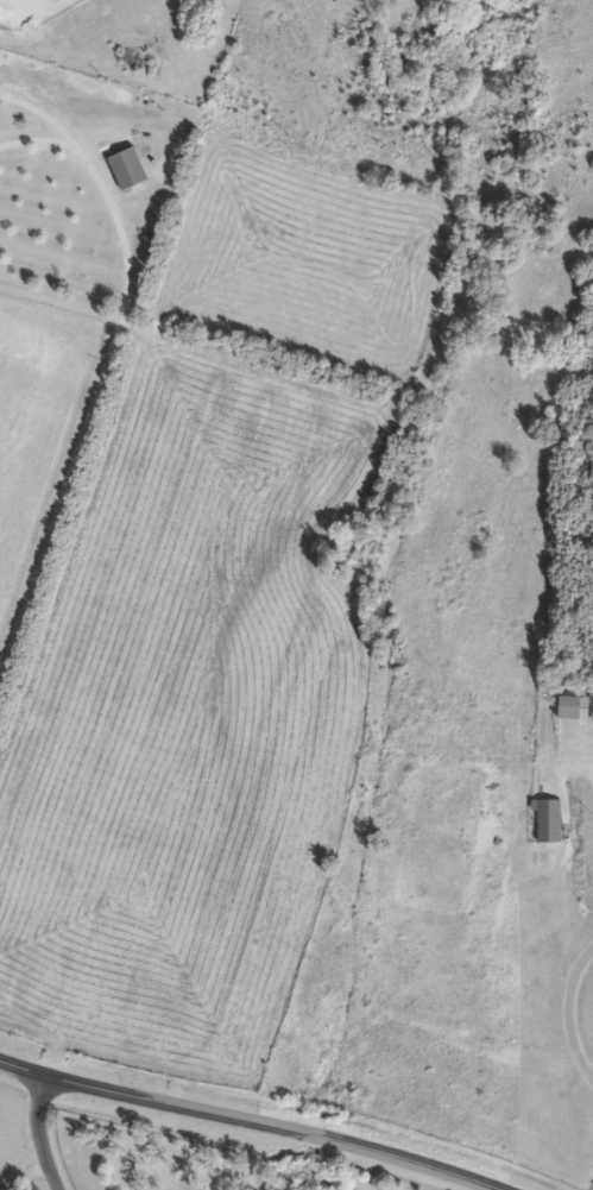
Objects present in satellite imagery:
road: (46, 118)
road: (43, 139)
building: (131, 171)
road: (90, 417)
building: (564, 707)
building: (540, 821)
road: (566, 1016)
road: (244, 1121)
road: (46, 1133)

